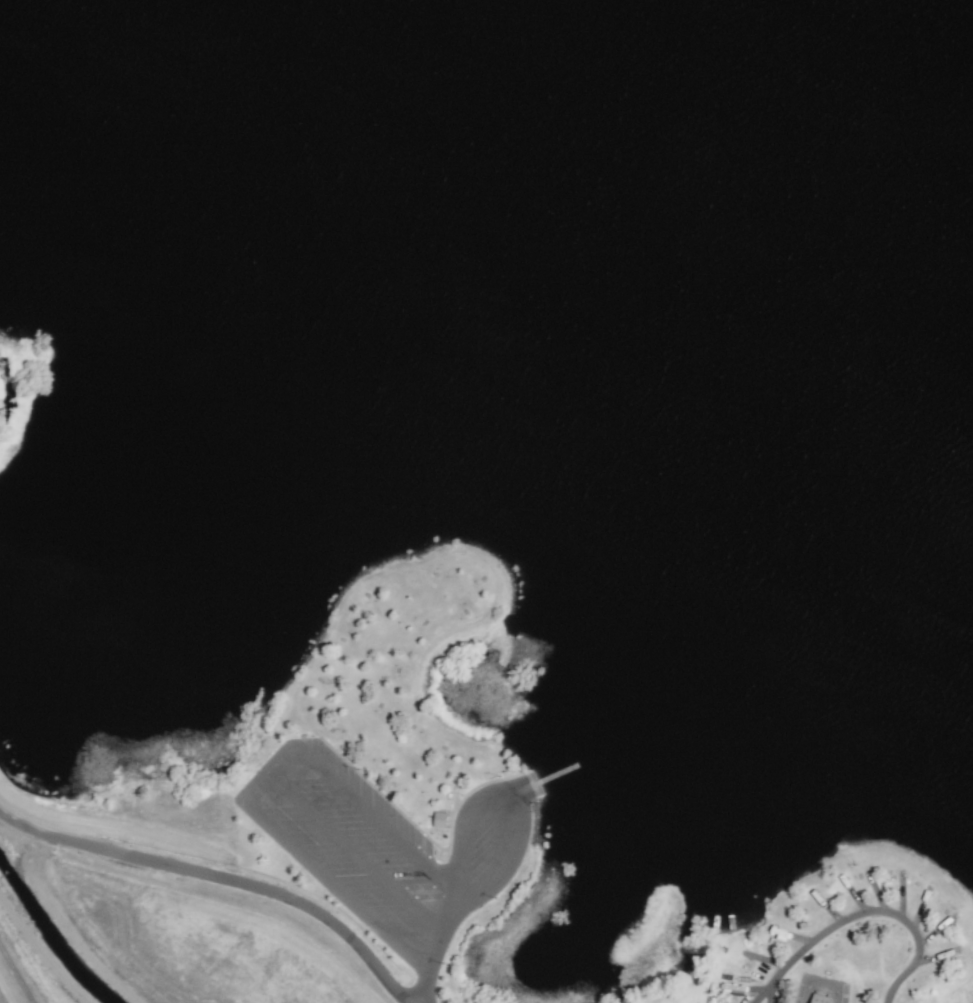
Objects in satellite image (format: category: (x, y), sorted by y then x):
road: (221, 879)
building: (820, 999)

